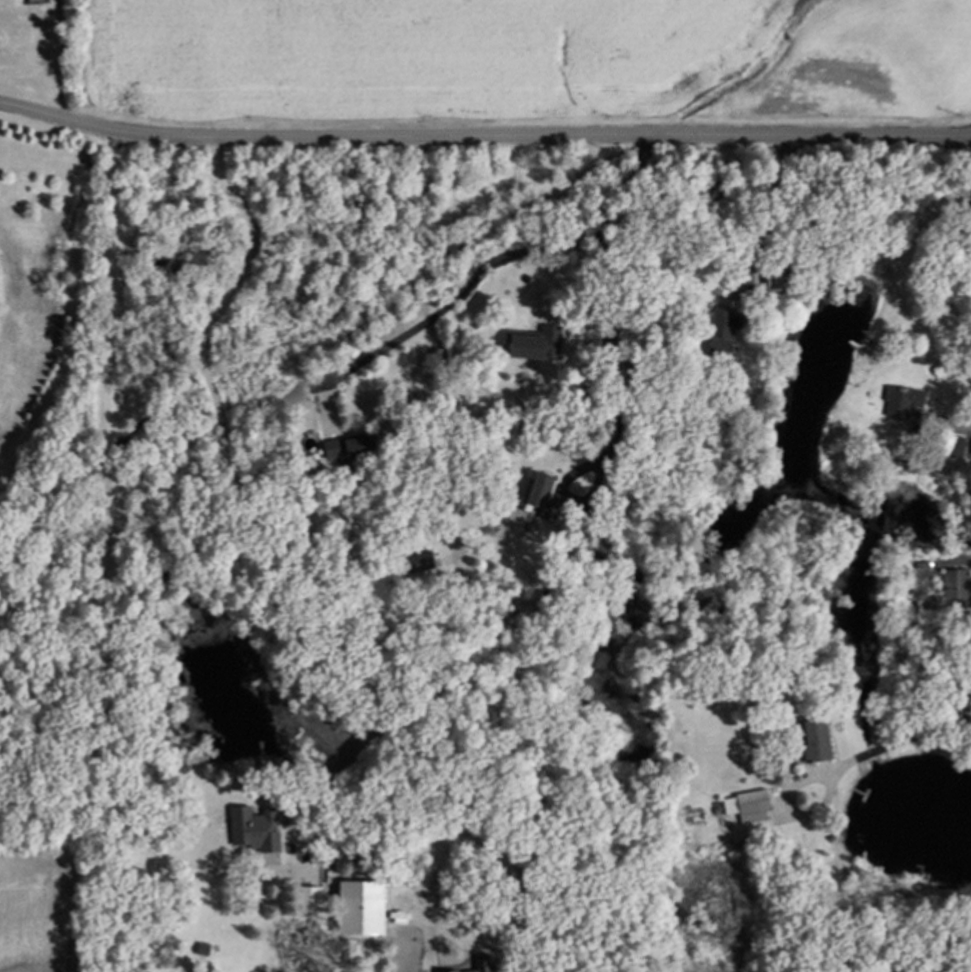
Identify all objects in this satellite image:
road: (963, 130)
road: (476, 137)
road: (496, 257)
building: (778, 287)
building: (722, 335)
building: (537, 346)
building: (913, 400)
building: (954, 448)
building: (350, 450)
building: (541, 493)
building: (421, 564)
building: (956, 590)
road: (102, 671)
building: (816, 742)
road: (881, 746)
building: (747, 805)
building: (254, 831)
building: (311, 901)

